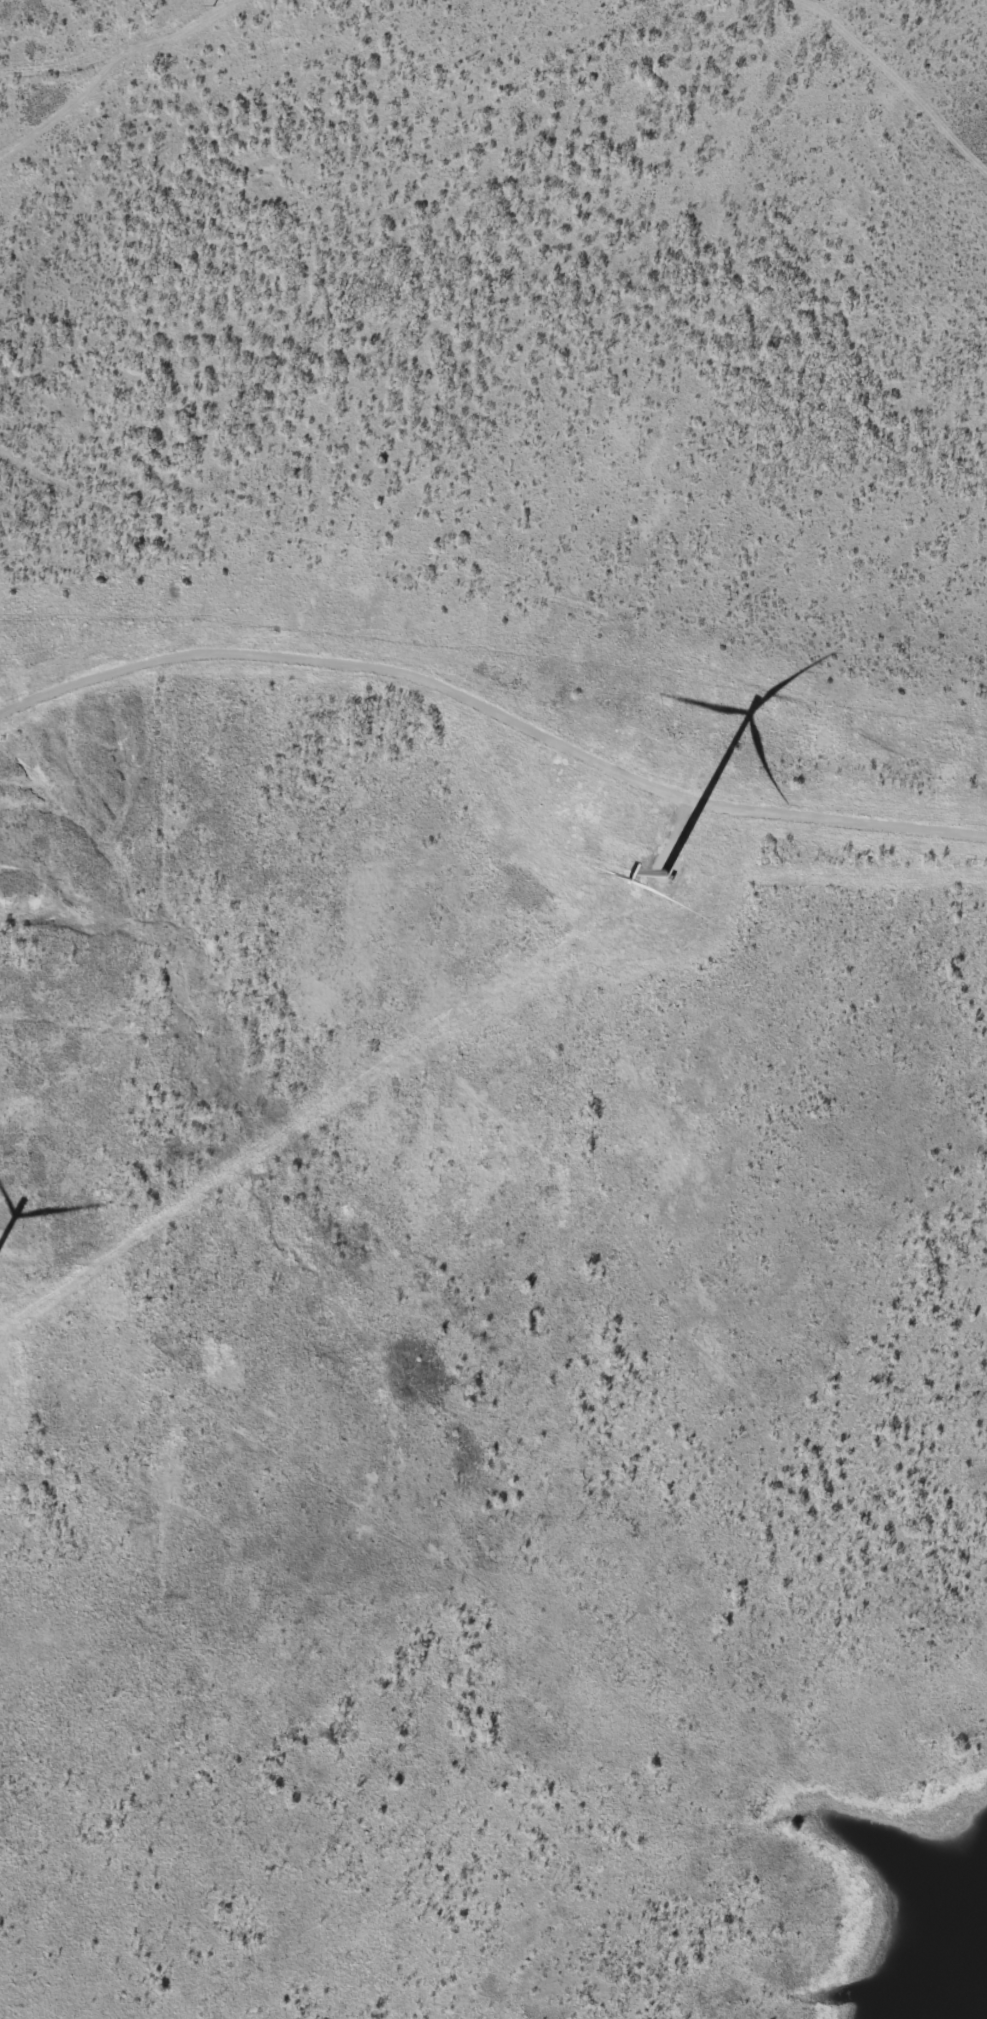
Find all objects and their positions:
road: (75, 34)
road: (118, 59)
road: (512, 592)
wind turbine: (665, 876)

